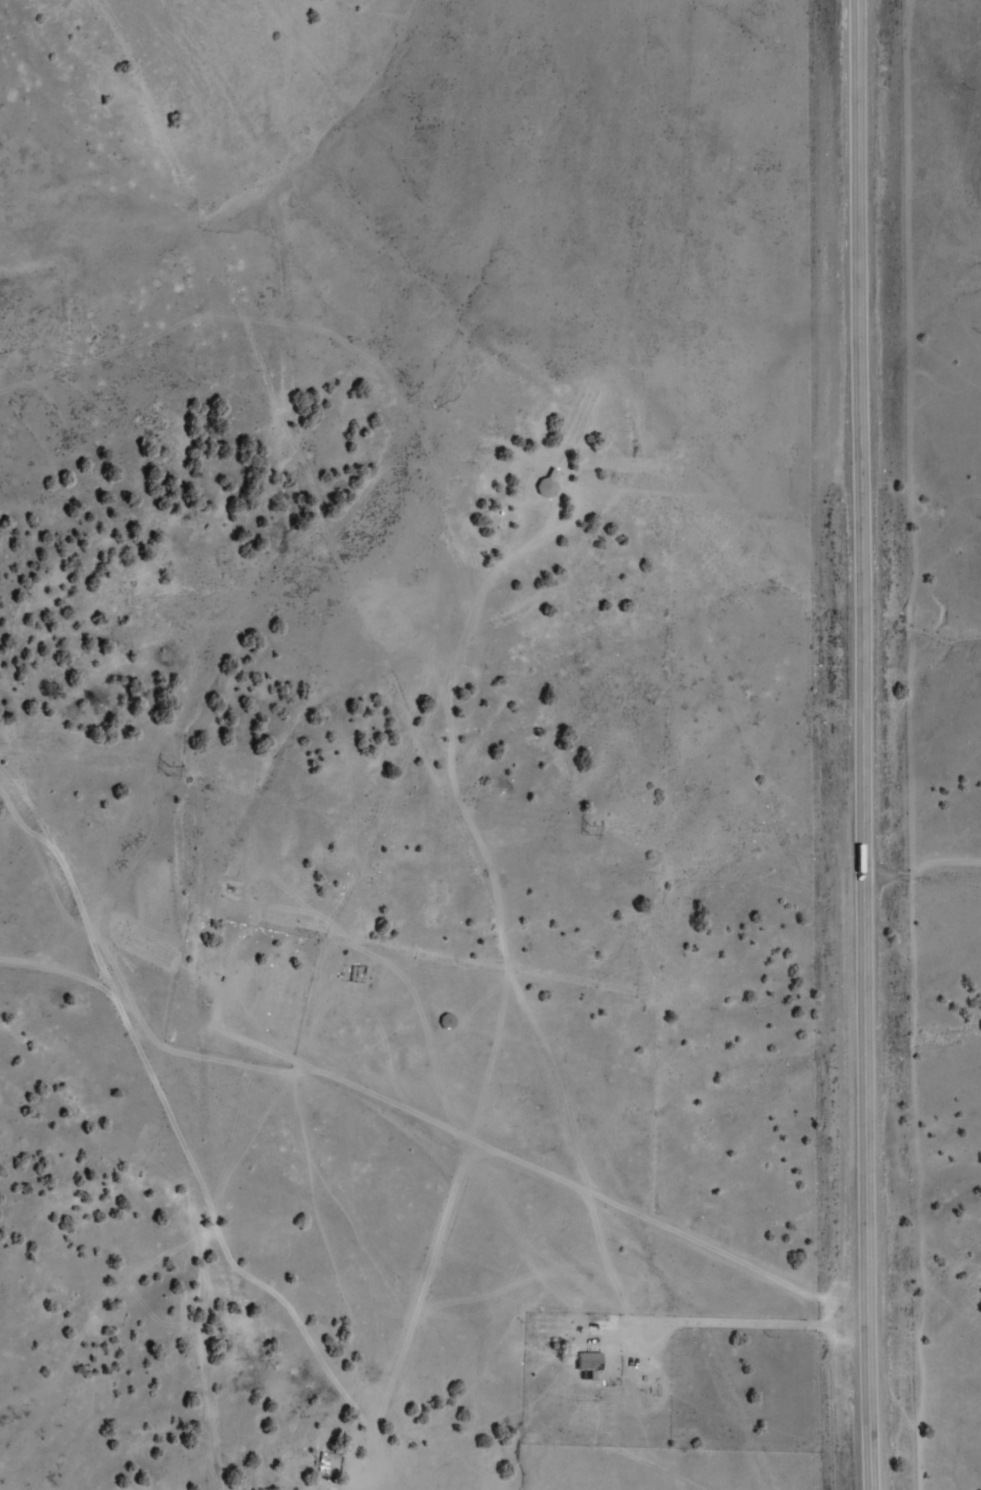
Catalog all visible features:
road: (864, 745)
power tower: (174, 769)
power tower: (593, 830)
building: (227, 991)
building: (589, 1361)
building: (323, 1460)
road: (395, 1473)

